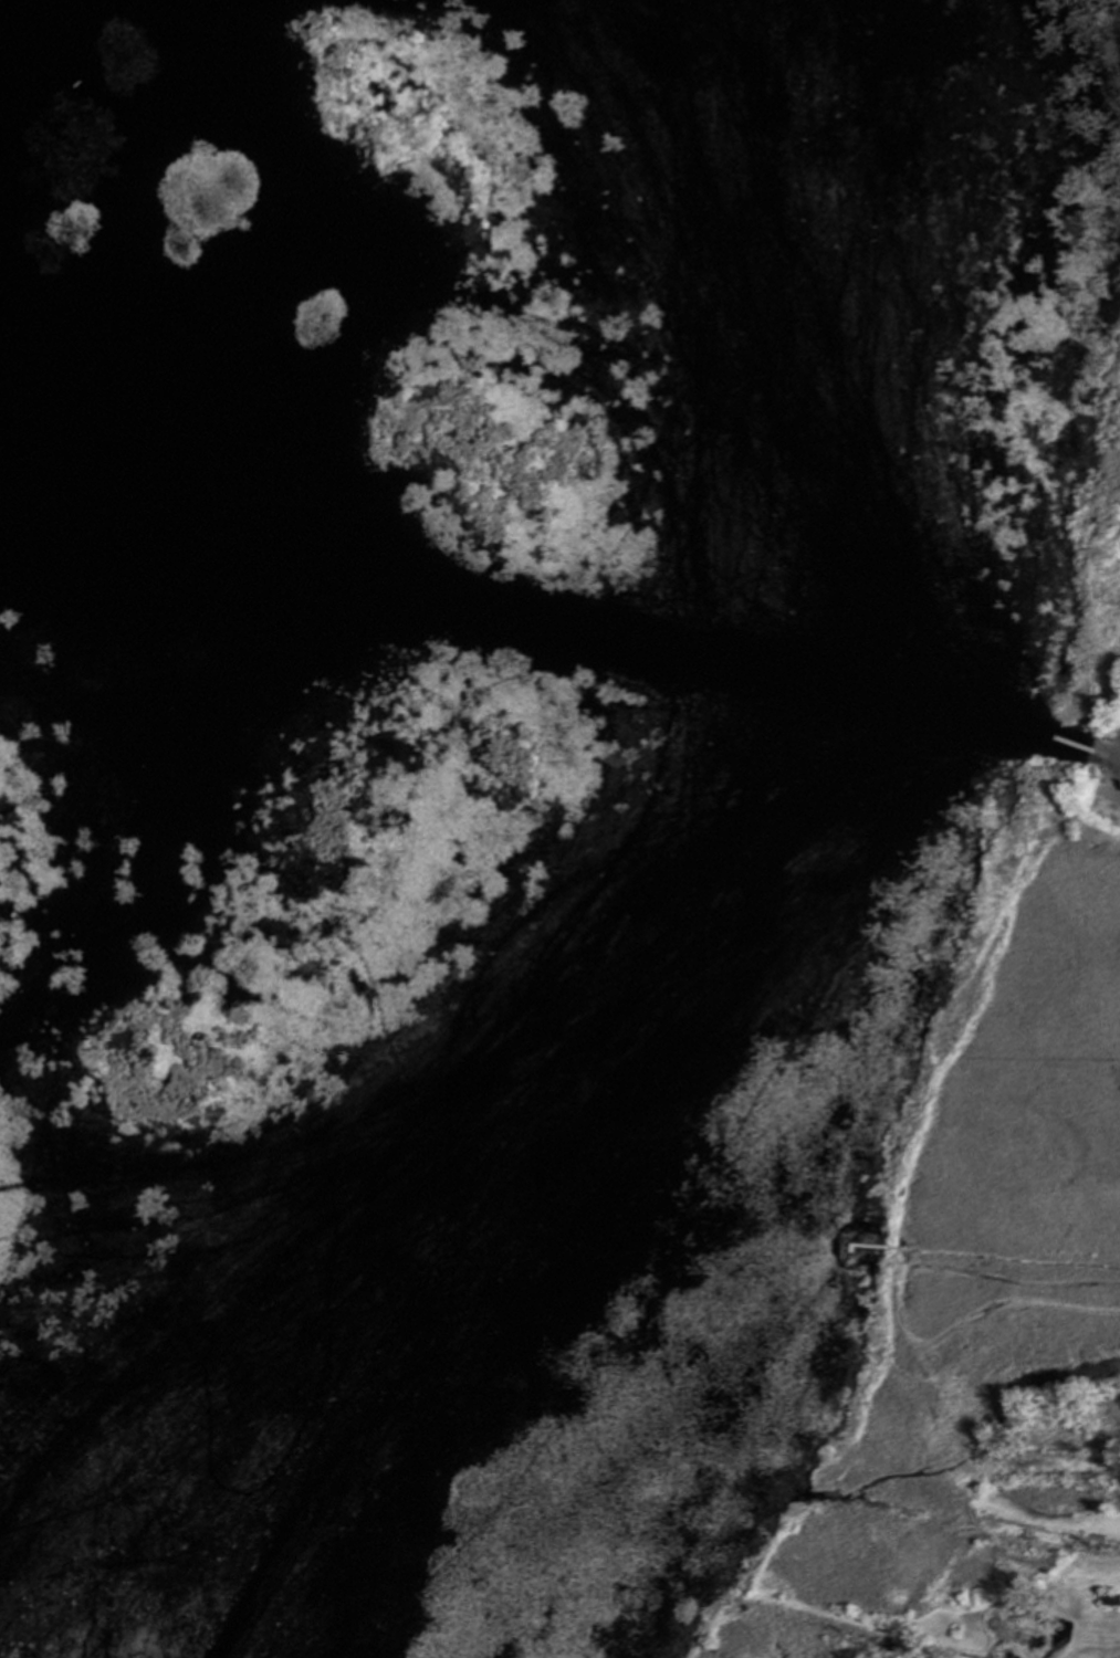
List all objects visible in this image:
parking lot: (1114, 799)

